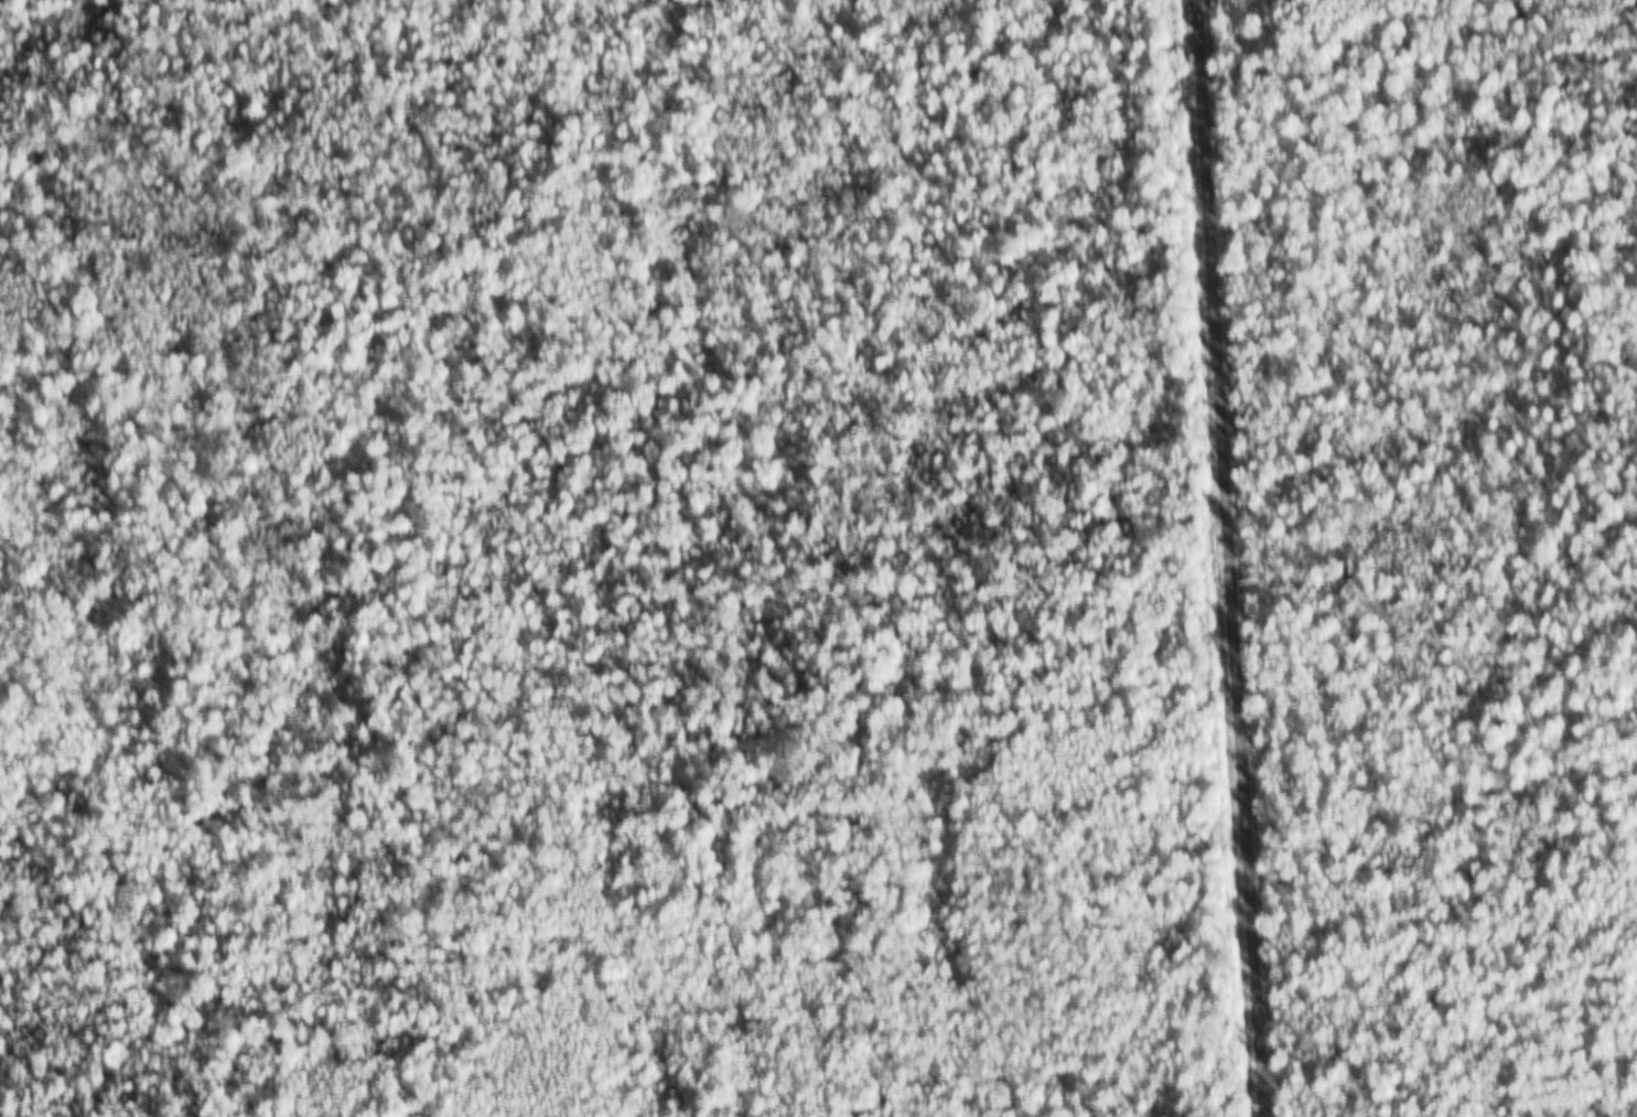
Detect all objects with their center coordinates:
road: (1220, 558)

